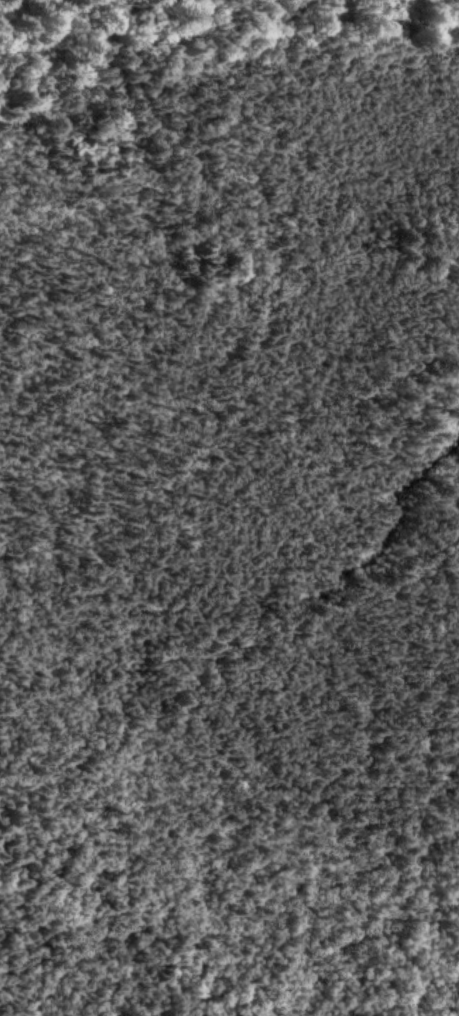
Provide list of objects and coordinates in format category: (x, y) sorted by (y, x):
road: (125, 7)

